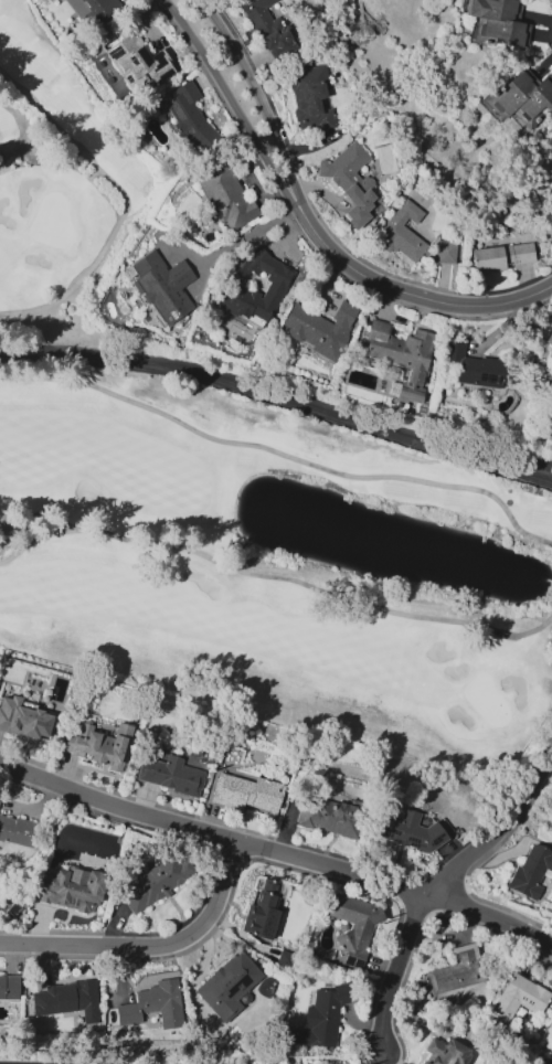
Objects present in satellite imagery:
building: (92, 8)
building: (261, 15)
building: (497, 22)
building: (277, 44)
building: (138, 63)
building: (520, 97)
road: (261, 98)
building: (310, 98)
road: (231, 102)
building: (191, 119)
building: (349, 182)
building: (225, 196)
road: (126, 203)
building: (401, 233)
road: (246, 235)
building: (445, 252)
building: (501, 257)
building: (162, 287)
building: (274, 290)
road: (408, 295)
building: (319, 329)
building: (551, 330)
building: (549, 341)
building: (400, 355)
building: (551, 355)
building: (474, 366)
road: (279, 398)
road: (280, 456)
park: (234, 497)
road: (273, 579)
building: (31, 709)
building: (103, 744)
building: (170, 776)
building: (250, 792)
building: (0, 796)
building: (330, 818)
building: (406, 829)
building: (18, 832)
road: (277, 852)
building: (531, 872)
building: (156, 883)
road: (434, 887)
building: (73, 890)
building: (278, 919)
building: (354, 926)
road: (150, 947)
building: (457, 970)
building: (227, 986)
building: (9, 988)
building: (518, 999)
building: (68, 1000)
building: (161, 1002)
building: (325, 1015)
building: (446, 1052)

